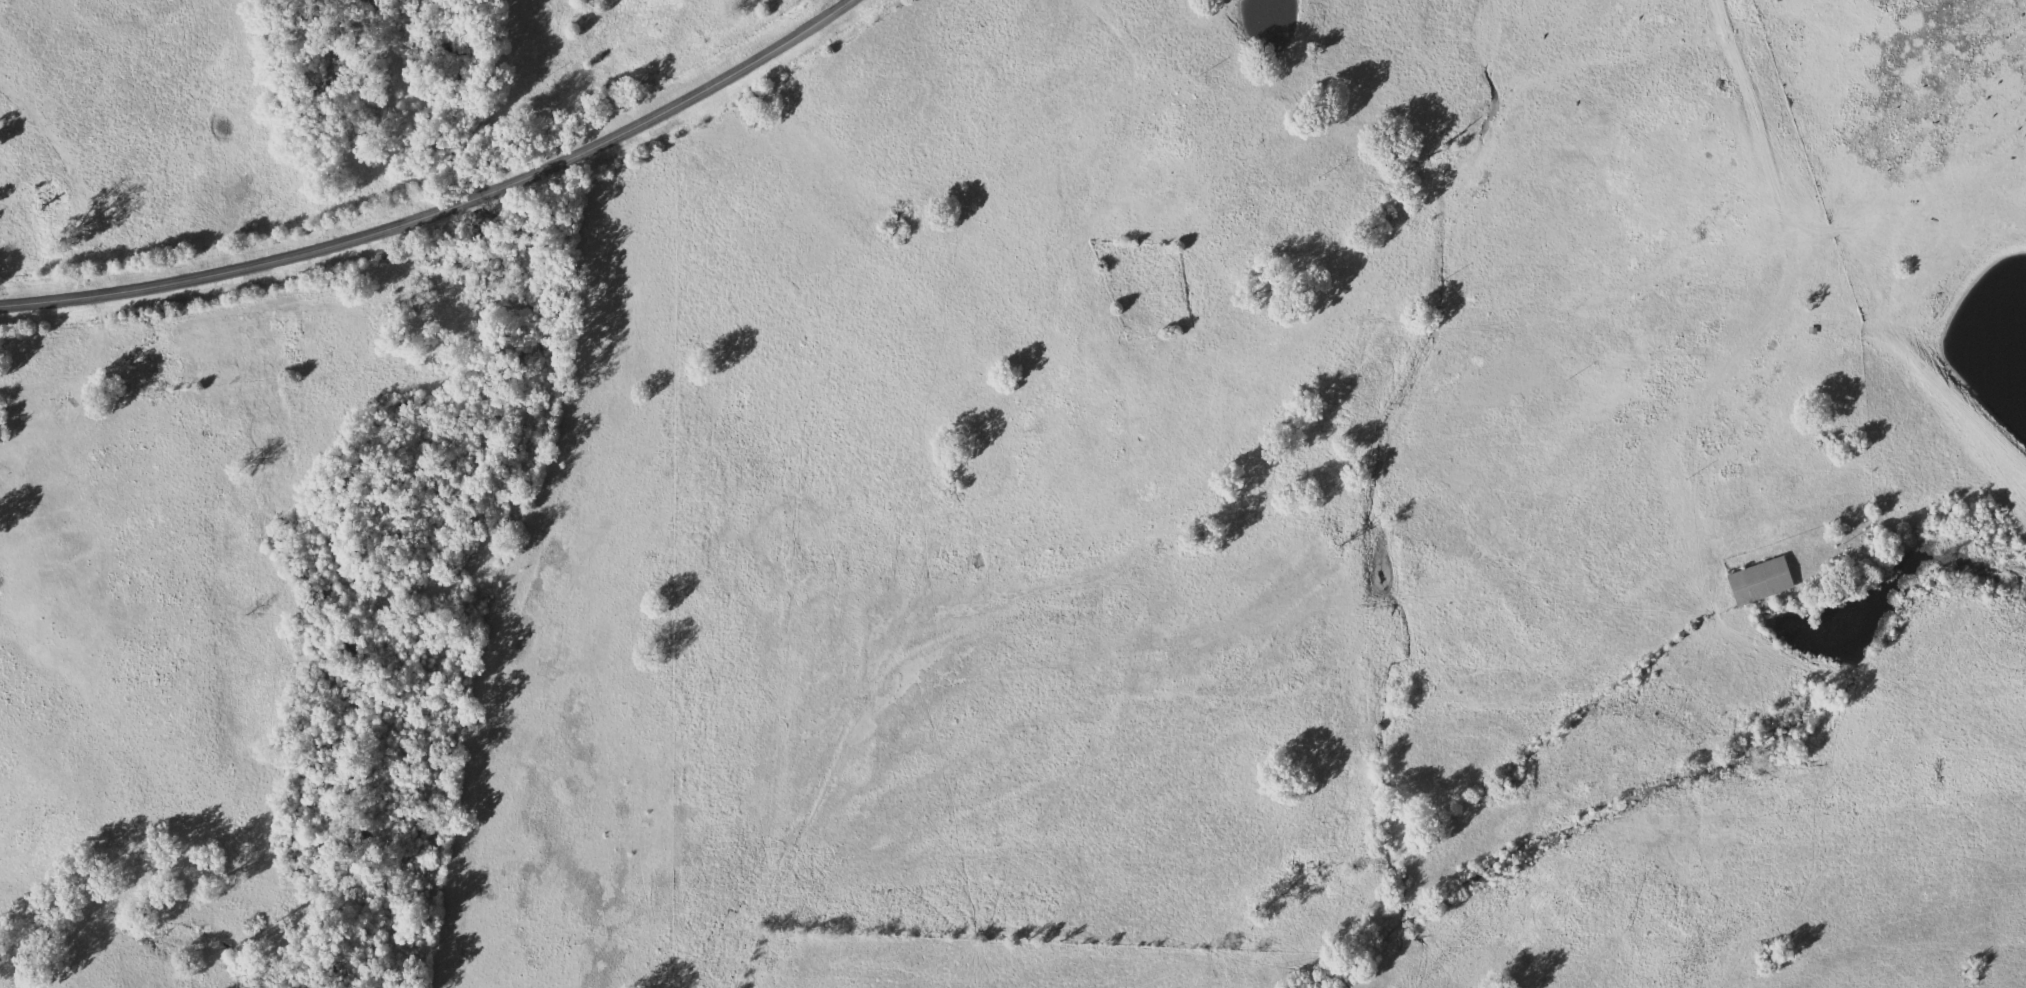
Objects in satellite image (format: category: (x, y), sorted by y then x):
road: (440, 208)
road: (1789, 288)
building: (1762, 580)

